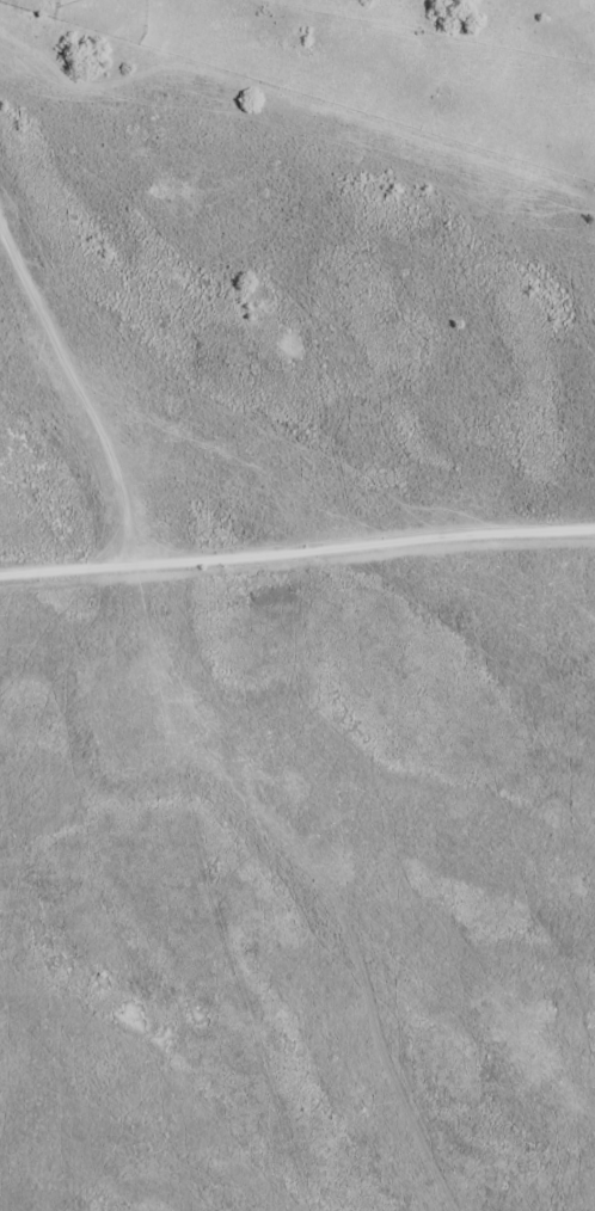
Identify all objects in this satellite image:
road: (85, 364)
road: (296, 549)

